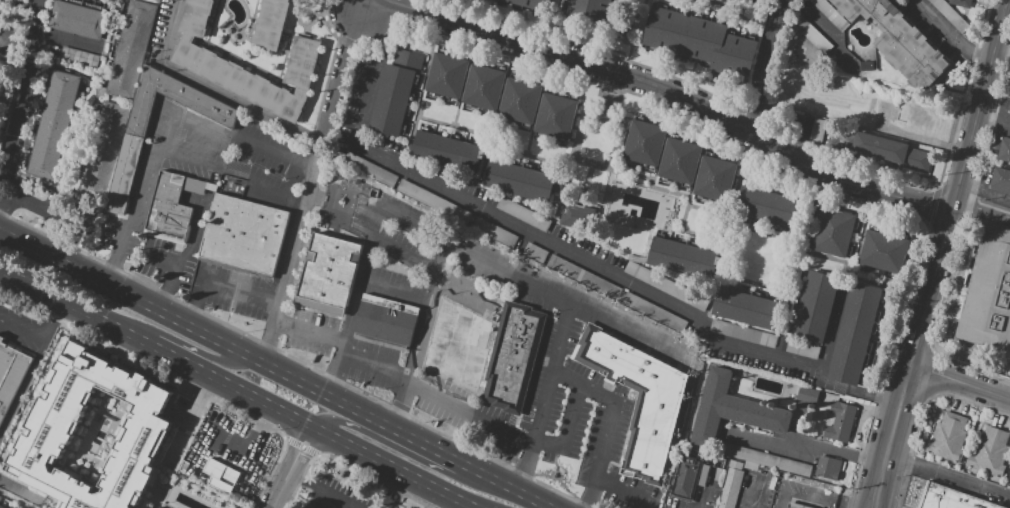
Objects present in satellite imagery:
building: (111, 0)
building: (303, 0)
building: (826, 0)
building: (759, 1)
building: (960, 3)
building: (531, 4)
road: (554, 6)
building: (588, 10)
road: (737, 14)
building: (830, 14)
building: (950, 15)
building: (80, 17)
building: (270, 24)
road: (625, 29)
road: (829, 30)
building: (811, 34)
road: (16, 35)
road: (951, 35)
road: (64, 40)
building: (700, 41)
building: (898, 41)
building: (129, 49)
road: (604, 53)
building: (78, 56)
building: (205, 64)
road: (760, 64)
building: (866, 66)
building: (848, 69)
building: (855, 73)
building: (447, 75)
building: (5, 76)
road: (342, 76)
road: (215, 87)
building: (483, 87)
building: (395, 91)
road: (665, 91)
building: (519, 101)
road: (17, 108)
building: (1009, 110)
building: (556, 115)
building: (1, 118)
road: (184, 124)
building: (53, 125)
building: (818, 131)
building: (644, 143)
building: (1004, 149)
building: (103, 151)
road: (749, 151)
building: (892, 151)
building: (445, 152)
road: (222, 153)
road: (272, 153)
road: (185, 159)
building: (679, 160)
building: (369, 169)
building: (126, 171)
road: (3, 172)
building: (714, 178)
building: (522, 179)
building: (1000, 180)
road: (959, 182)
road: (261, 184)
building: (433, 201)
building: (172, 205)
building: (767, 206)
road: (35, 208)
road: (982, 209)
building: (522, 213)
building: (571, 214)
road: (130, 215)
road: (527, 230)
building: (833, 232)
building: (494, 233)
building: (244, 234)
building: (883, 251)
road: (365, 252)
road: (291, 257)
building: (681, 257)
road: (65, 263)
road: (173, 265)
building: (328, 275)
building: (668, 287)
road: (433, 288)
road: (198, 293)
building: (988, 293)
road: (246, 294)
road: (160, 296)
road: (567, 300)
building: (815, 305)
building: (746, 308)
road: (190, 314)
building: (386, 320)
road: (49, 321)
road: (20, 330)
building: (854, 333)
building: (742, 334)
building: (457, 346)
road: (193, 349)
road: (342, 351)
building: (512, 357)
road: (332, 372)
road: (823, 374)
building: (1009, 374)
building: (11, 377)
road: (958, 382)
road: (226, 386)
road: (21, 387)
building: (807, 395)
road: (543, 396)
building: (638, 398)
road: (339, 399)
road: (198, 400)
road: (448, 403)
building: (731, 410)
parking lot: (576, 421)
road: (609, 421)
building: (839, 422)
road: (795, 428)
road: (567, 431)
road: (255, 432)
road: (890, 436)
building: (948, 437)
road: (800, 440)
building: (139, 443)
road: (404, 452)
building: (989, 452)
road: (315, 456)
building: (764, 459)
building: (736, 466)
road: (290, 468)
building: (827, 468)
building: (221, 472)
road: (948, 475)
road: (293, 478)
building: (1009, 478)
building: (684, 480)
road: (379, 481)
road: (296, 485)
road: (393, 489)
building: (732, 489)
road: (624, 491)
road: (328, 493)
road: (806, 497)
parking lot: (807, 497)
road: (744, 499)
building: (947, 499)
road: (451, 501)
road: (466, 501)
building: (792, 506)
building: (1, 507)
building: (298, 507)
road: (693, 507)
road: (838, 507)

